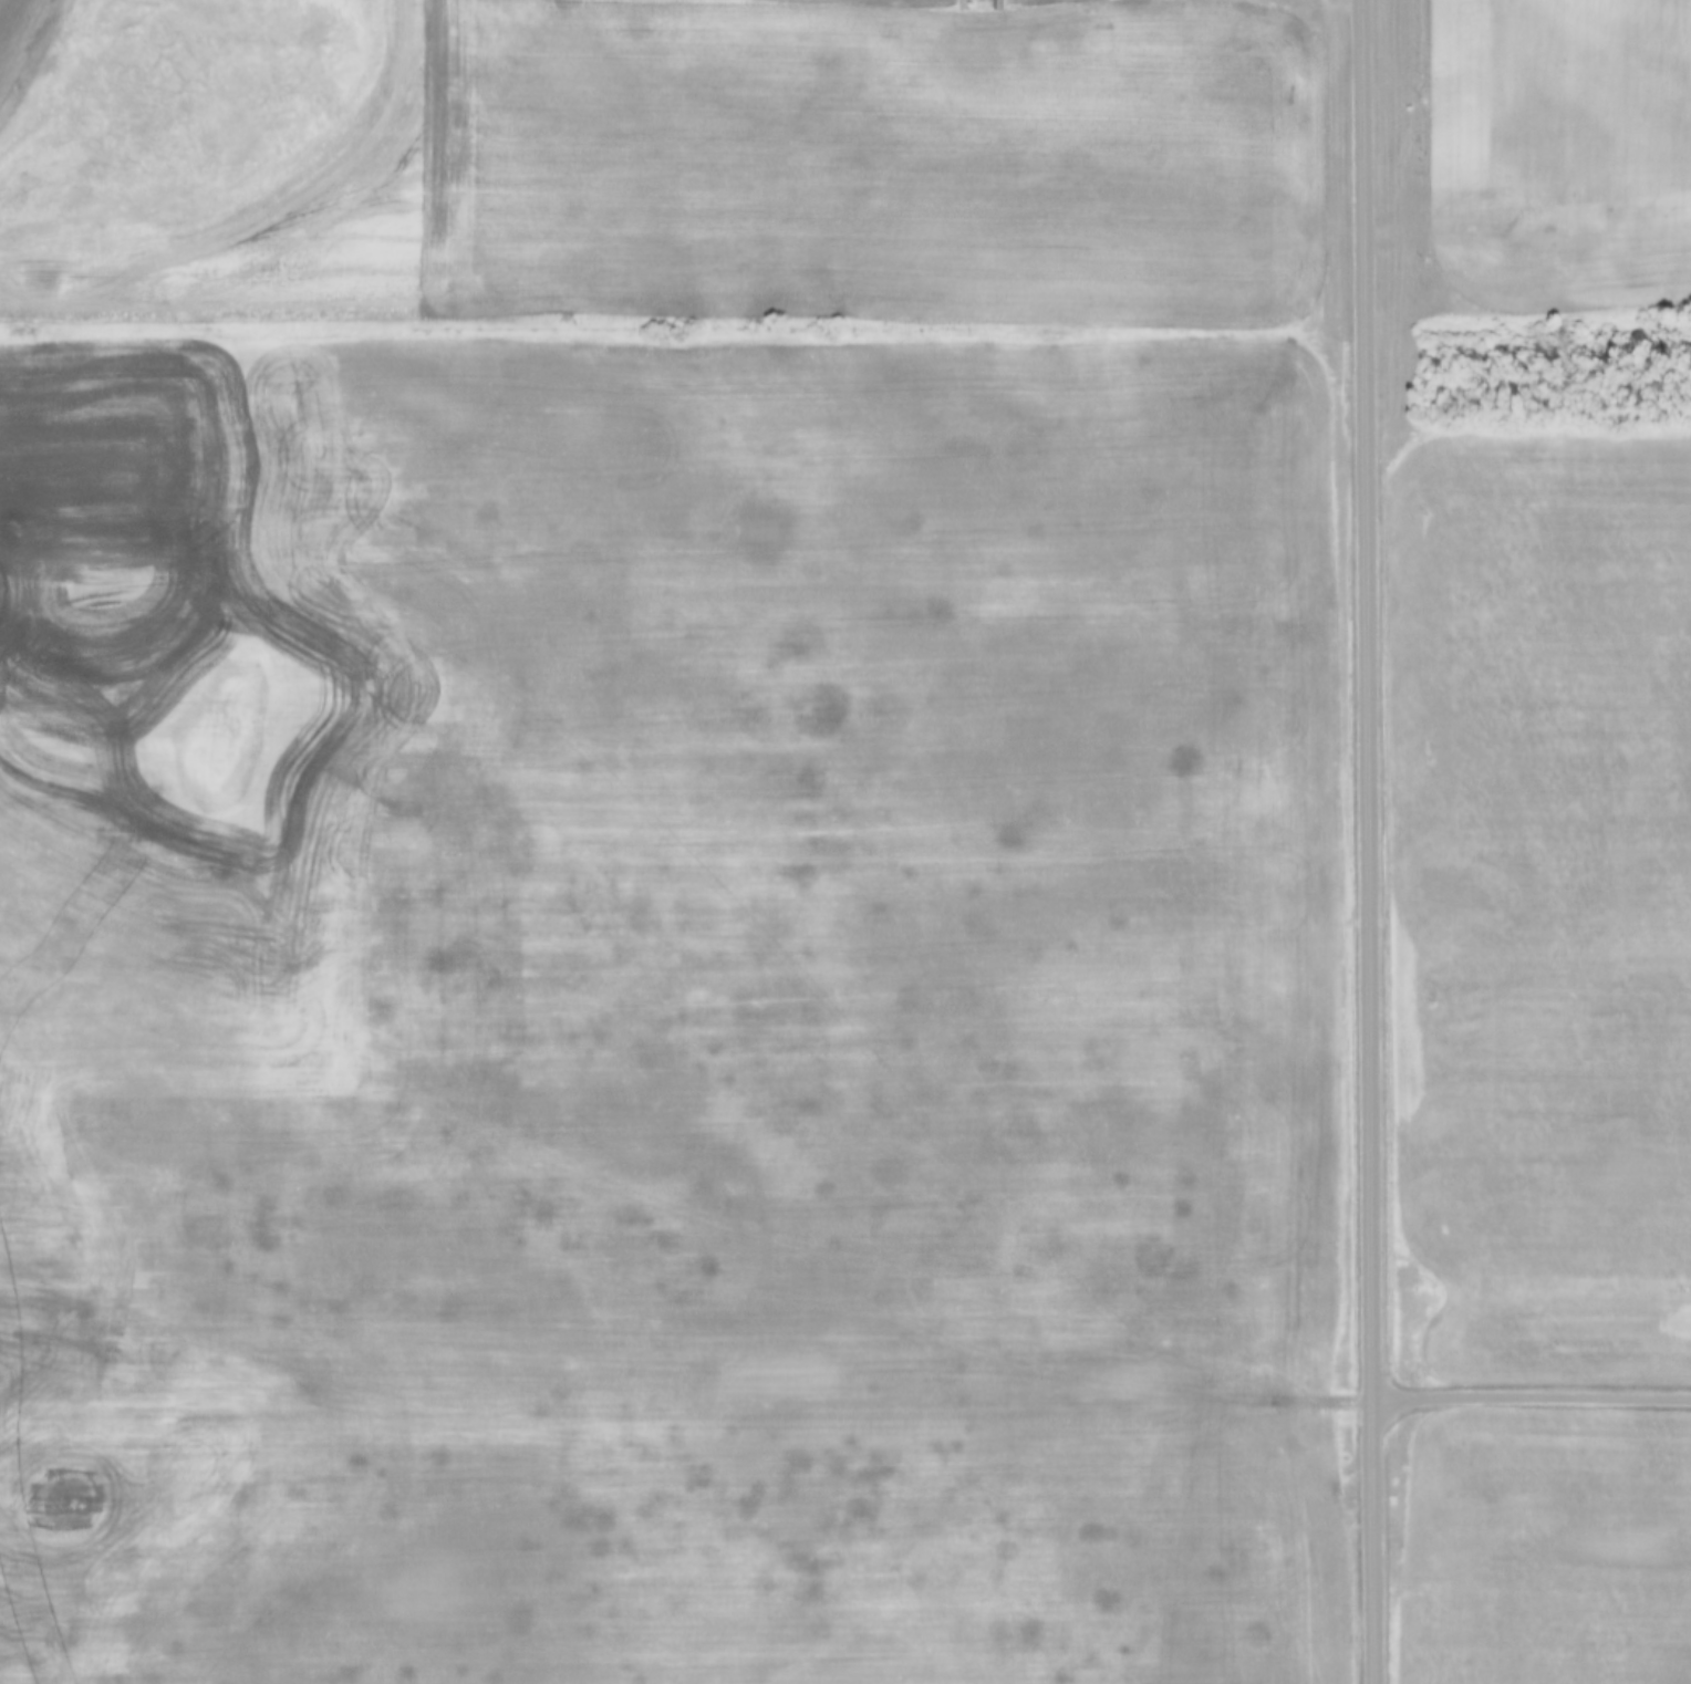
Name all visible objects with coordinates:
road: (1369, 842)
road: (1532, 1402)

